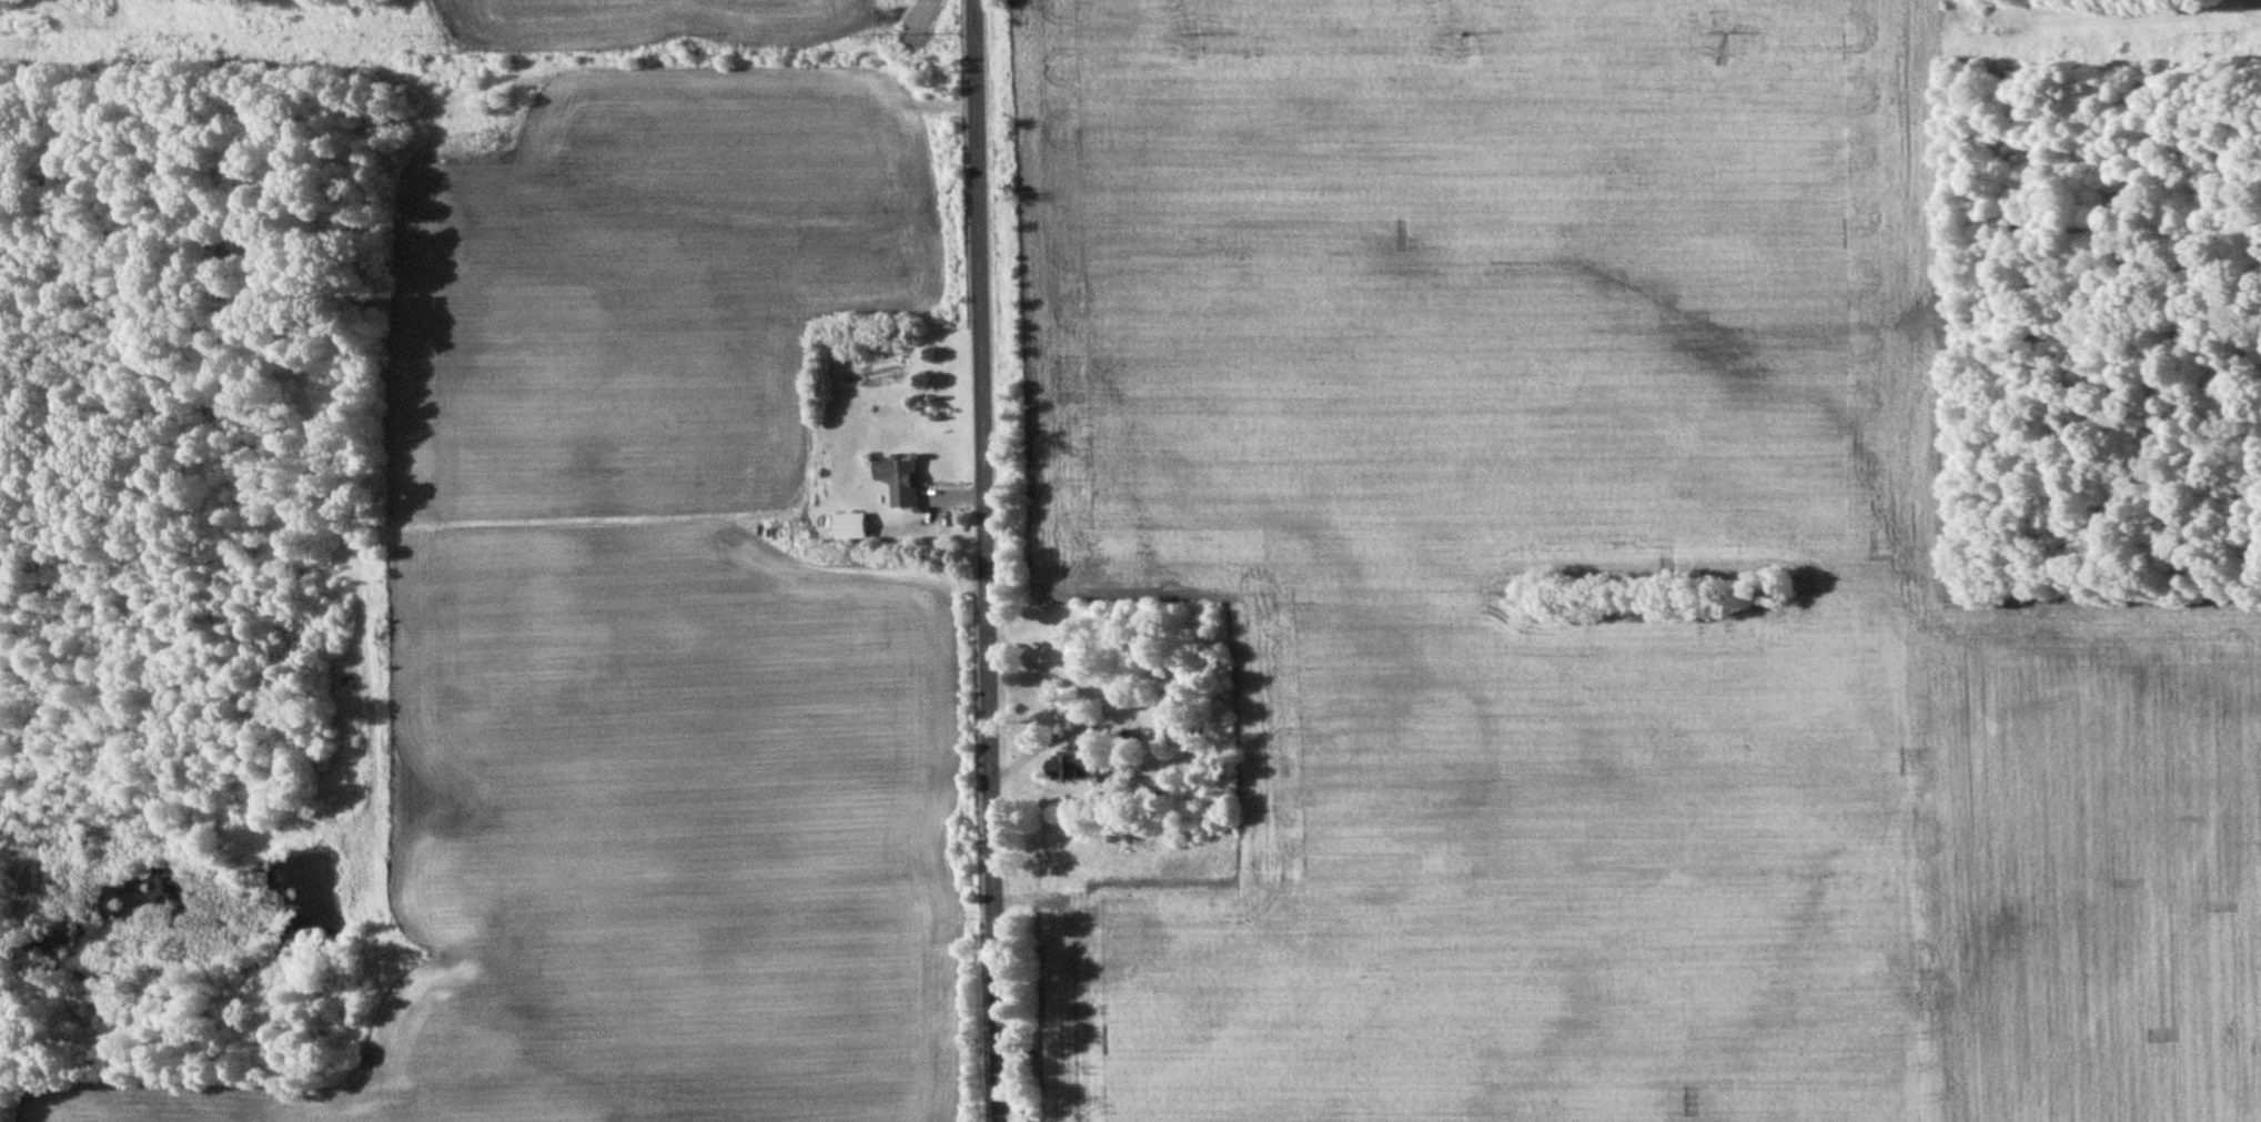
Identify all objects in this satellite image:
building: (904, 479)
building: (854, 525)
road: (986, 560)
building: (1084, 764)

